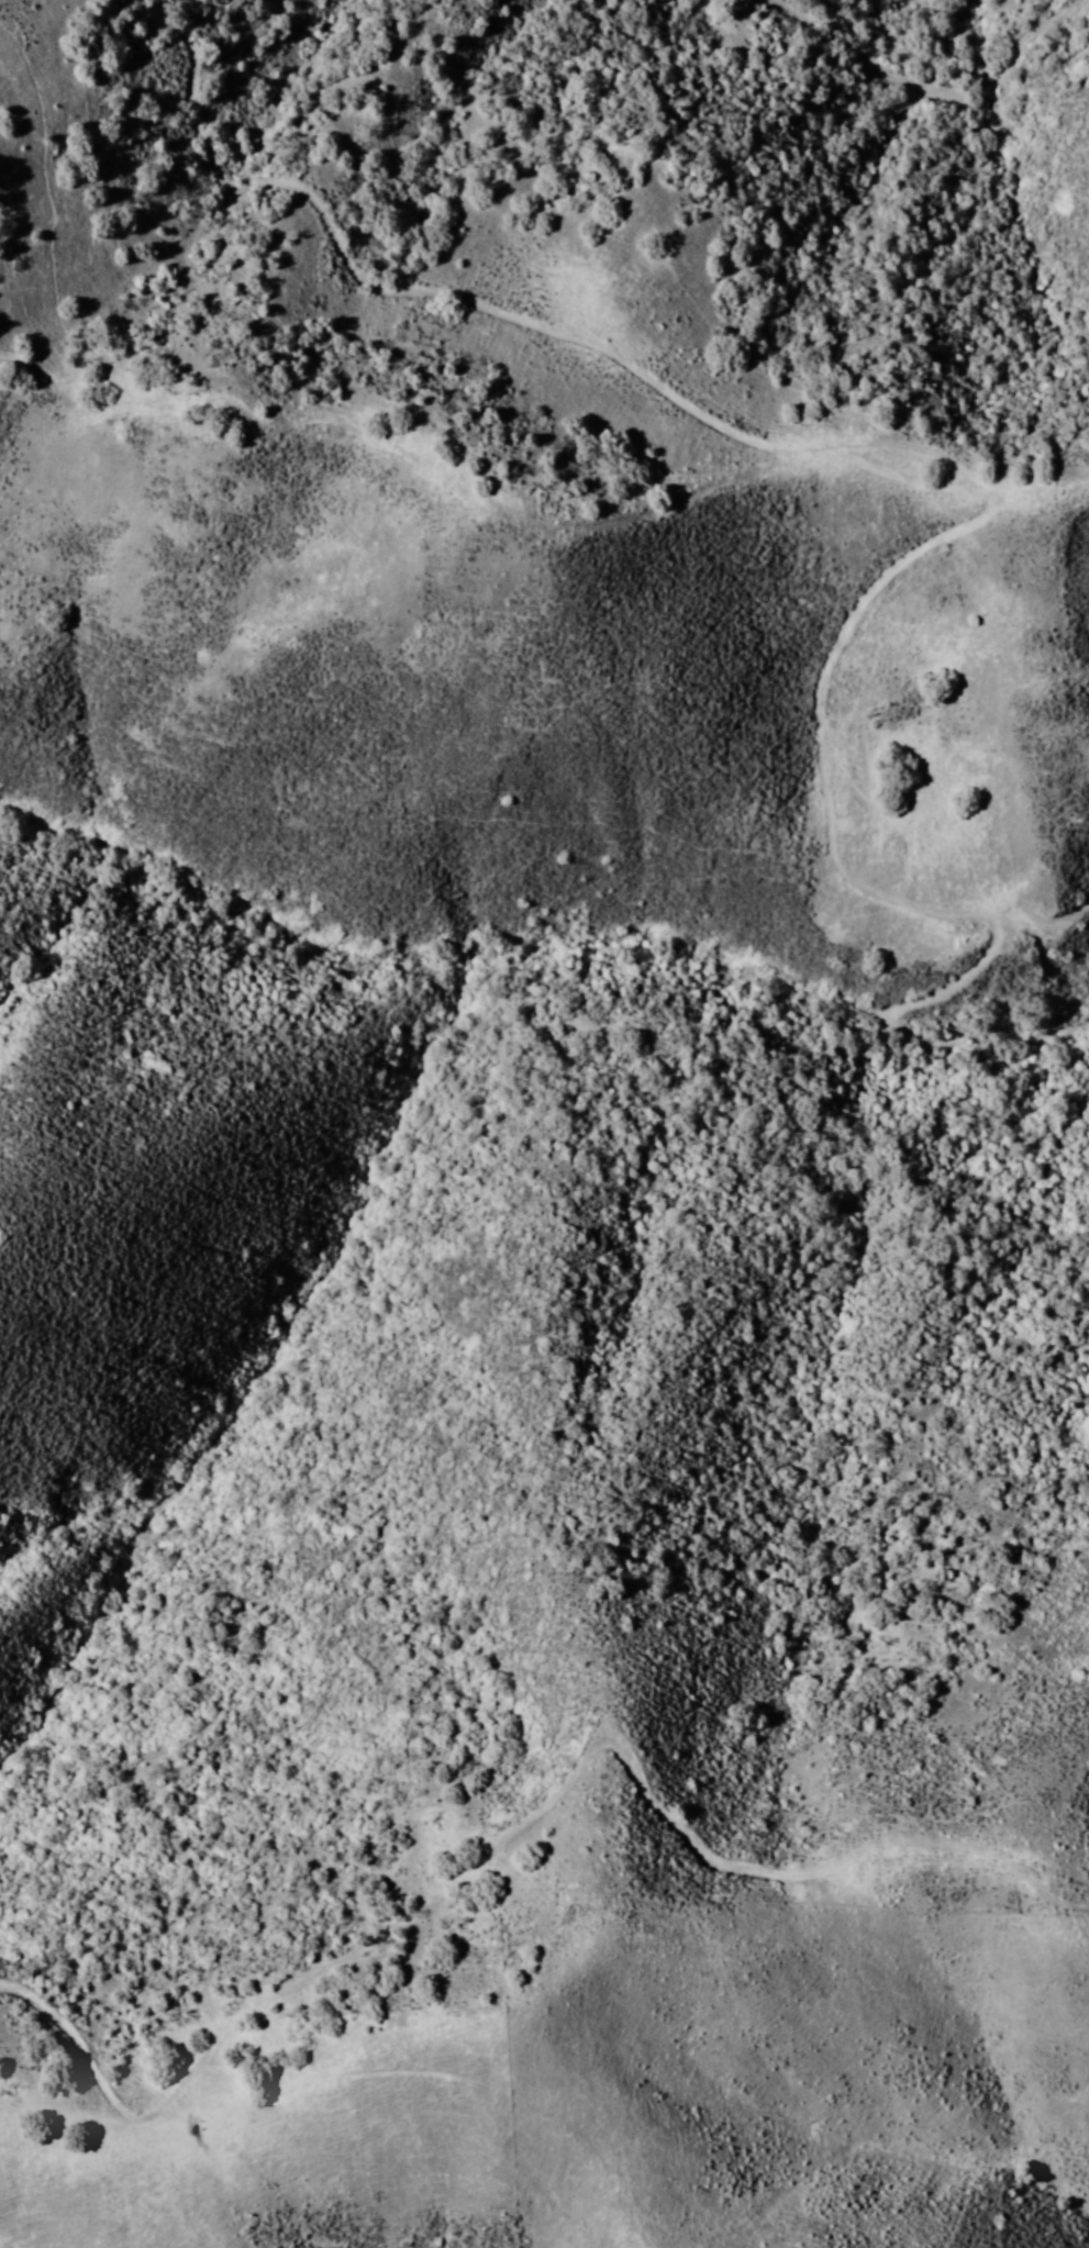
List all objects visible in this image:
road: (1029, 25)
road: (521, 356)
road: (310, 2129)

